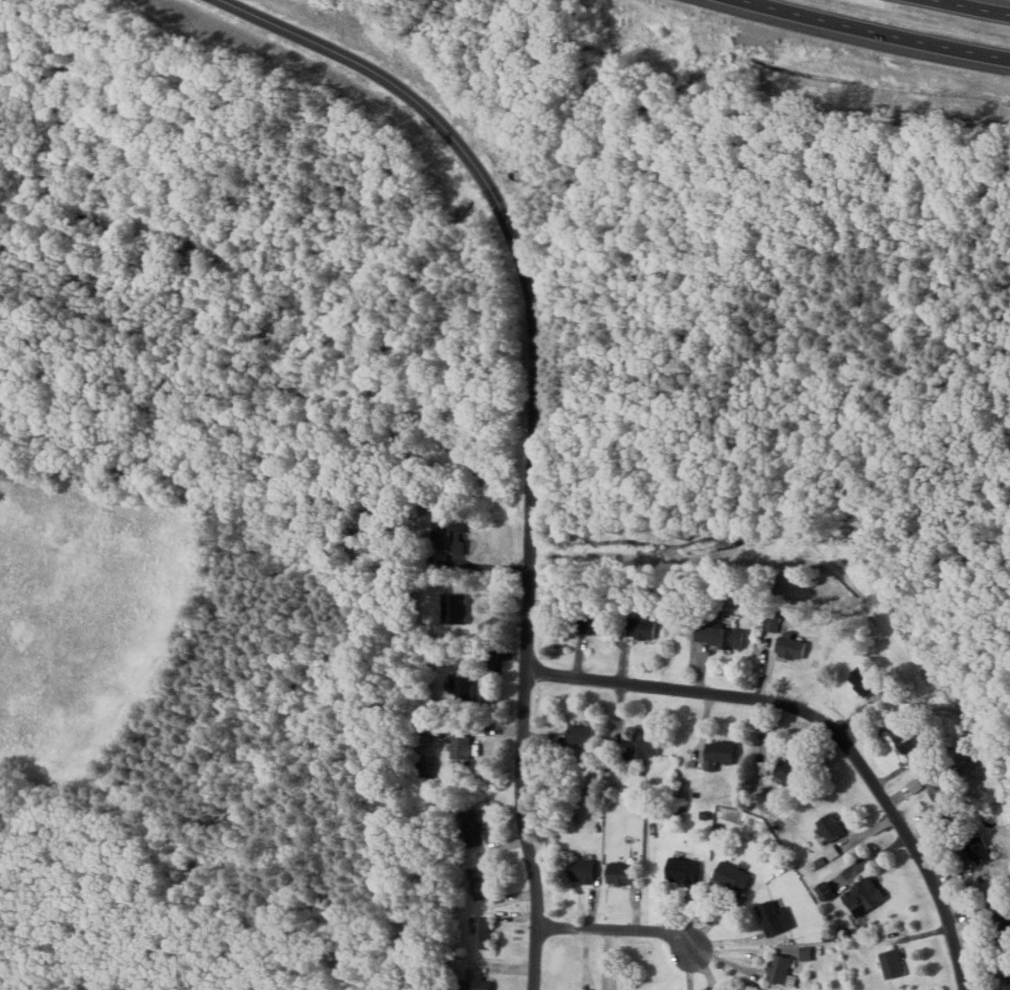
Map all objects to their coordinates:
road: (988, 4)
road: (889, 28)
road: (538, 418)
building: (453, 535)
building: (672, 610)
building: (775, 621)
building: (595, 623)
building: (645, 625)
building: (722, 632)
building: (792, 646)
building: (868, 681)
building: (463, 686)
building: (487, 698)
building: (435, 703)
road: (822, 722)
building: (483, 727)
building: (907, 733)
building: (581, 735)
building: (647, 744)
building: (462, 745)
building: (722, 752)
building: (431, 763)
building: (764, 766)
building: (790, 771)
building: (476, 774)
building: (917, 783)
building: (558, 787)
building: (941, 790)
building: (707, 813)
building: (936, 817)
building: (718, 825)
building: (474, 826)
building: (832, 826)
building: (981, 849)
building: (832, 851)
building: (821, 860)
building: (583, 869)
building: (684, 869)
building: (623, 872)
building: (735, 875)
building: (483, 879)
building: (868, 892)
building: (1003, 897)
building: (775, 917)
building: (1002, 920)
road: (616, 928)
building: (485, 931)
building: (845, 931)
building: (829, 932)
building: (828, 944)
building: (807, 952)
building: (894, 962)
building: (782, 969)
building: (1009, 972)
building: (1009, 977)
building: (476, 980)
building: (835, 987)

